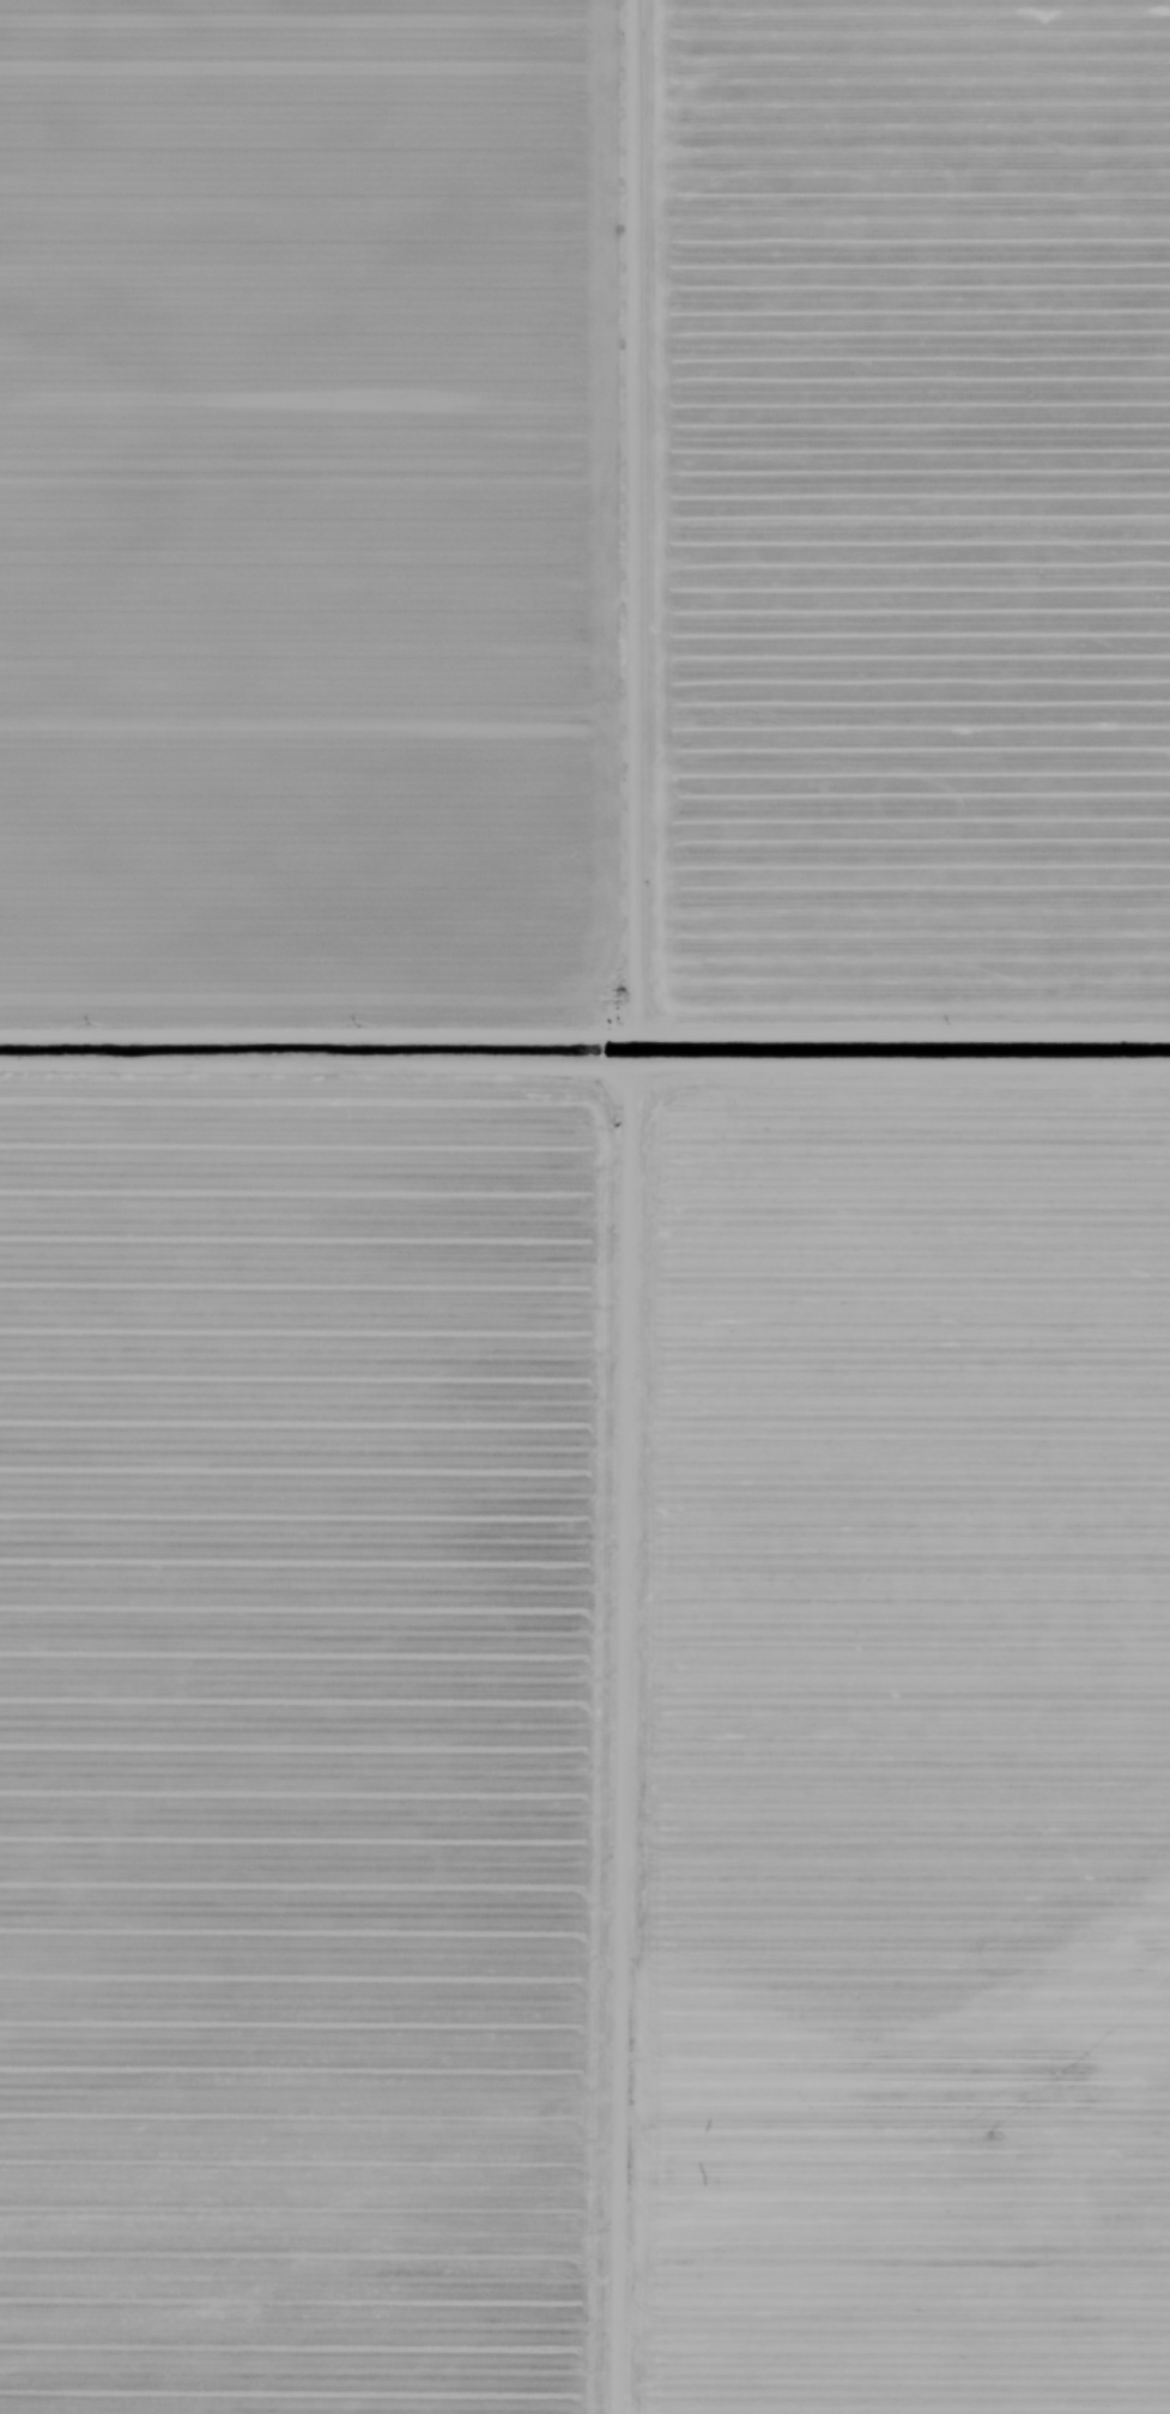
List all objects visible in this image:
road: (584, 1077)

